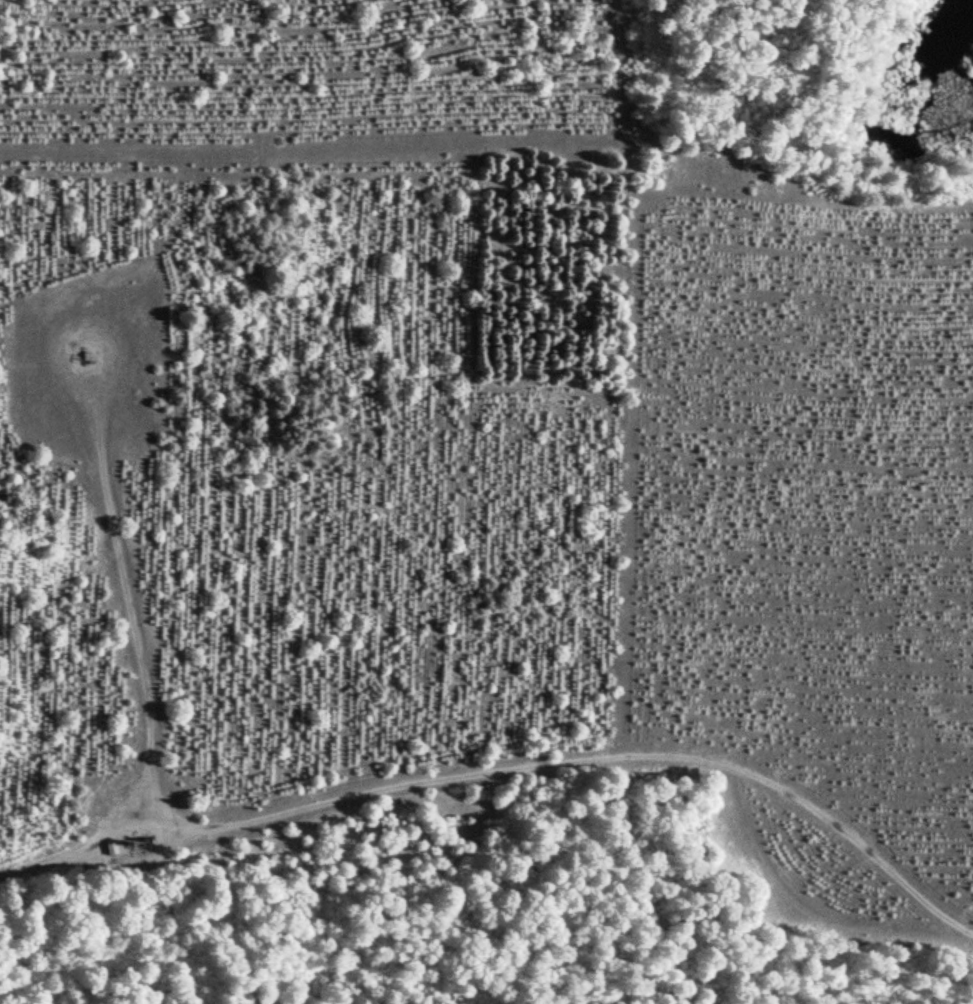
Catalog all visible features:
road: (88, 342)
petroleum well: (82, 361)
road: (85, 370)
road: (420, 799)
road: (80, 848)

